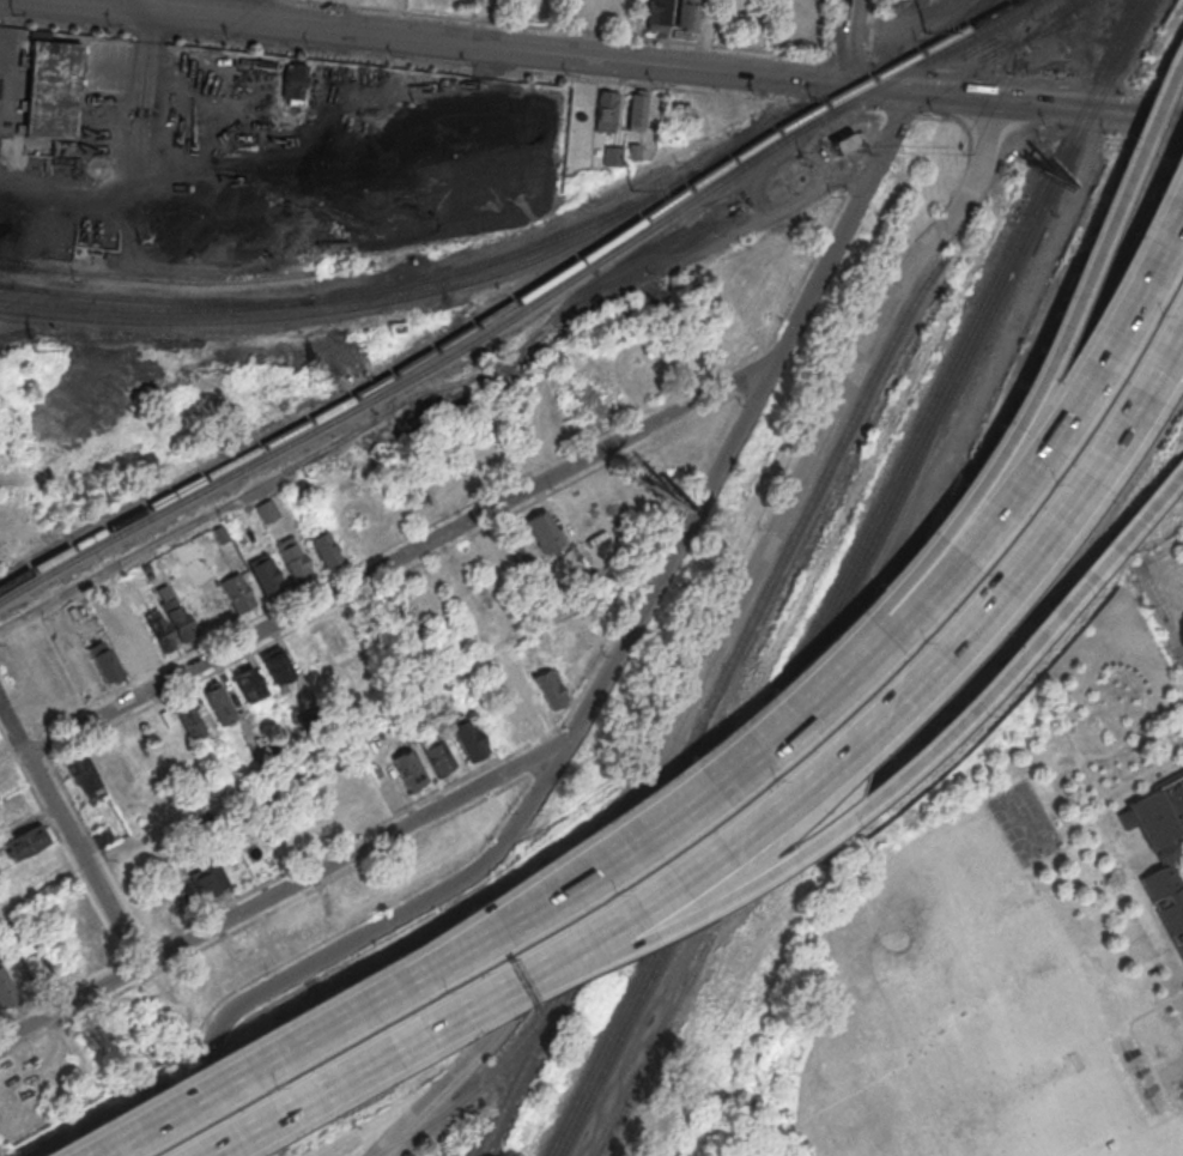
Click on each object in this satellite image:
building: (477, 0)
railway: (1012, 0)
road: (222, 7)
building: (657, 12)
building: (686, 13)
road: (147, 26)
railway: (963, 28)
railway: (951, 30)
power tower: (927, 31)
road: (845, 42)
railway: (955, 44)
road: (621, 60)
building: (293, 83)
building: (49, 87)
building: (636, 109)
building: (606, 113)
road: (1026, 126)
road: (1093, 135)
building: (844, 143)
road: (1154, 143)
building: (633, 152)
railway: (841, 152)
road: (111, 155)
building: (611, 155)
power tower: (633, 188)
railway: (154, 278)
railway: (413, 283)
railway: (6, 284)
railway: (160, 299)
railway: (362, 304)
railway: (462, 332)
power tower: (30, 350)
railway: (444, 358)
power tower: (314, 375)
building: (589, 405)
railway: (818, 488)
building: (298, 489)
building: (267, 509)
building: (544, 531)
road: (176, 533)
building: (220, 533)
building: (324, 546)
road: (933, 550)
road: (1159, 553)
road: (402, 556)
building: (293, 557)
building: (266, 574)
building: (582, 576)
railway: (842, 577)
railway: (854, 577)
building: (237, 592)
building: (393, 605)
building: (77, 611)
road: (1159, 611)
building: (176, 612)
building: (160, 628)
road: (914, 628)
road: (716, 646)
building: (104, 660)
road: (938, 662)
building: (277, 666)
road: (602, 680)
building: (248, 683)
building: (548, 689)
building: (219, 703)
building: (524, 707)
road: (1058, 716)
building: (190, 719)
building: (395, 720)
road: (1160, 726)
building: (290, 737)
building: (468, 738)
road: (929, 743)
building: (275, 749)
building: (436, 753)
building: (408, 769)
building: (86, 776)
building: (7, 783)
road: (1121, 786)
building: (192, 825)
park: (1024, 825)
road: (69, 833)
building: (103, 836)
building: (26, 841)
building: (1161, 849)
building: (207, 879)
road: (43, 886)
road: (285, 888)
building: (5, 926)
railway: (588, 940)
park: (1011, 945)
road: (564, 956)
building: (34, 960)
building: (6, 991)
road: (299, 1039)
road: (1137, 1040)
park: (950, 1041)
road: (1169, 1057)
railway: (649, 1058)
road: (371, 1073)
railway: (484, 1078)
park: (1157, 1143)

